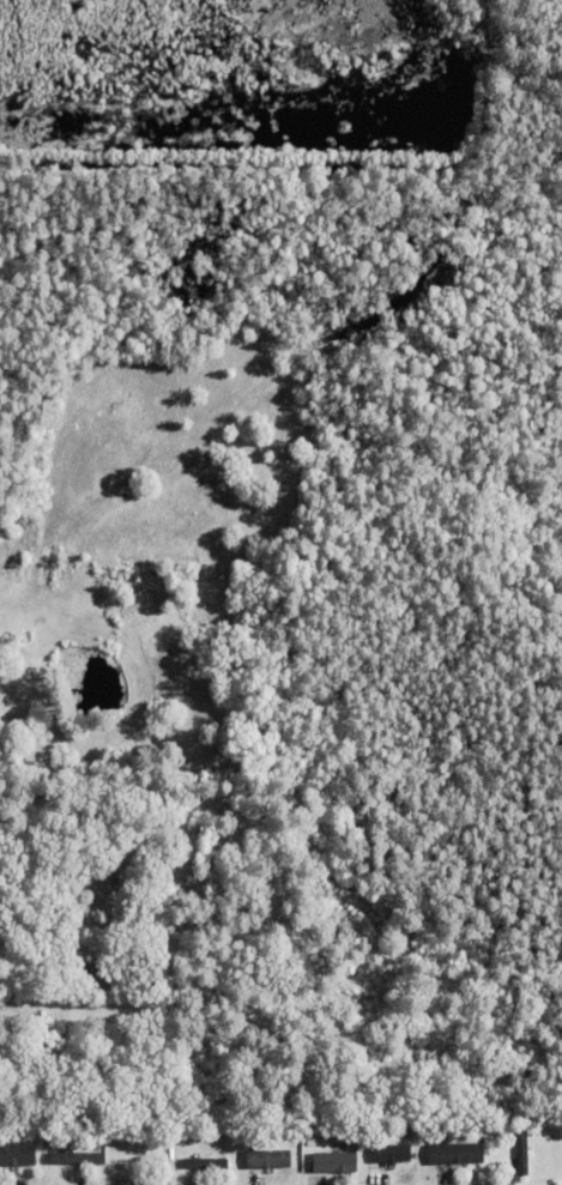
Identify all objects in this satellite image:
building: (99, 977)
building: (253, 1138)
building: (388, 1153)
building: (455, 1154)
building: (521, 1154)
building: (17, 1155)
building: (268, 1159)
building: (78, 1160)
building: (207, 1160)
building: (334, 1163)
building: (393, 1163)

